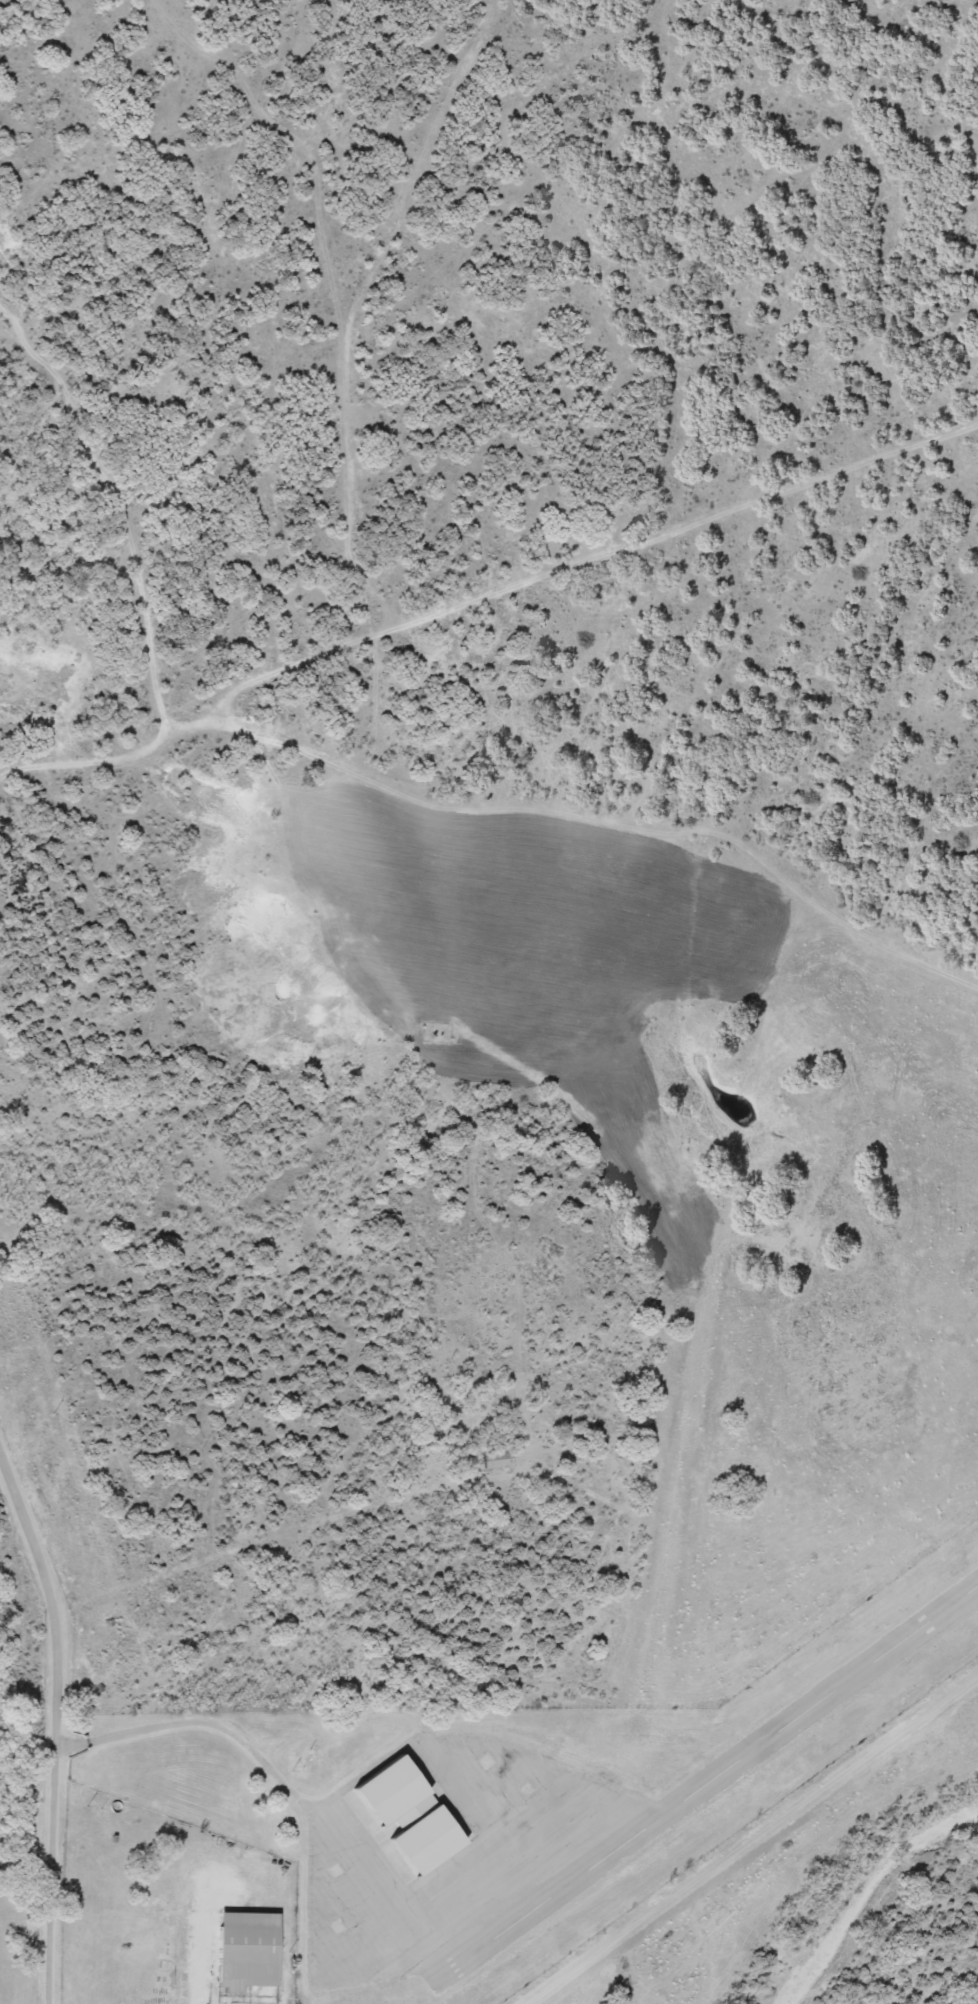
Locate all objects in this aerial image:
road: (272, 1645)
railway: (51, 1648)
road: (60, 1718)
road: (158, 1742)
airport runway: (720, 1782)
helipad: (535, 1789)
airport hangar: (401, 1791)
building: (401, 1791)
airport hangar: (437, 1841)
building: (437, 1841)
airport hangar: (253, 1952)
building: (253, 1952)

